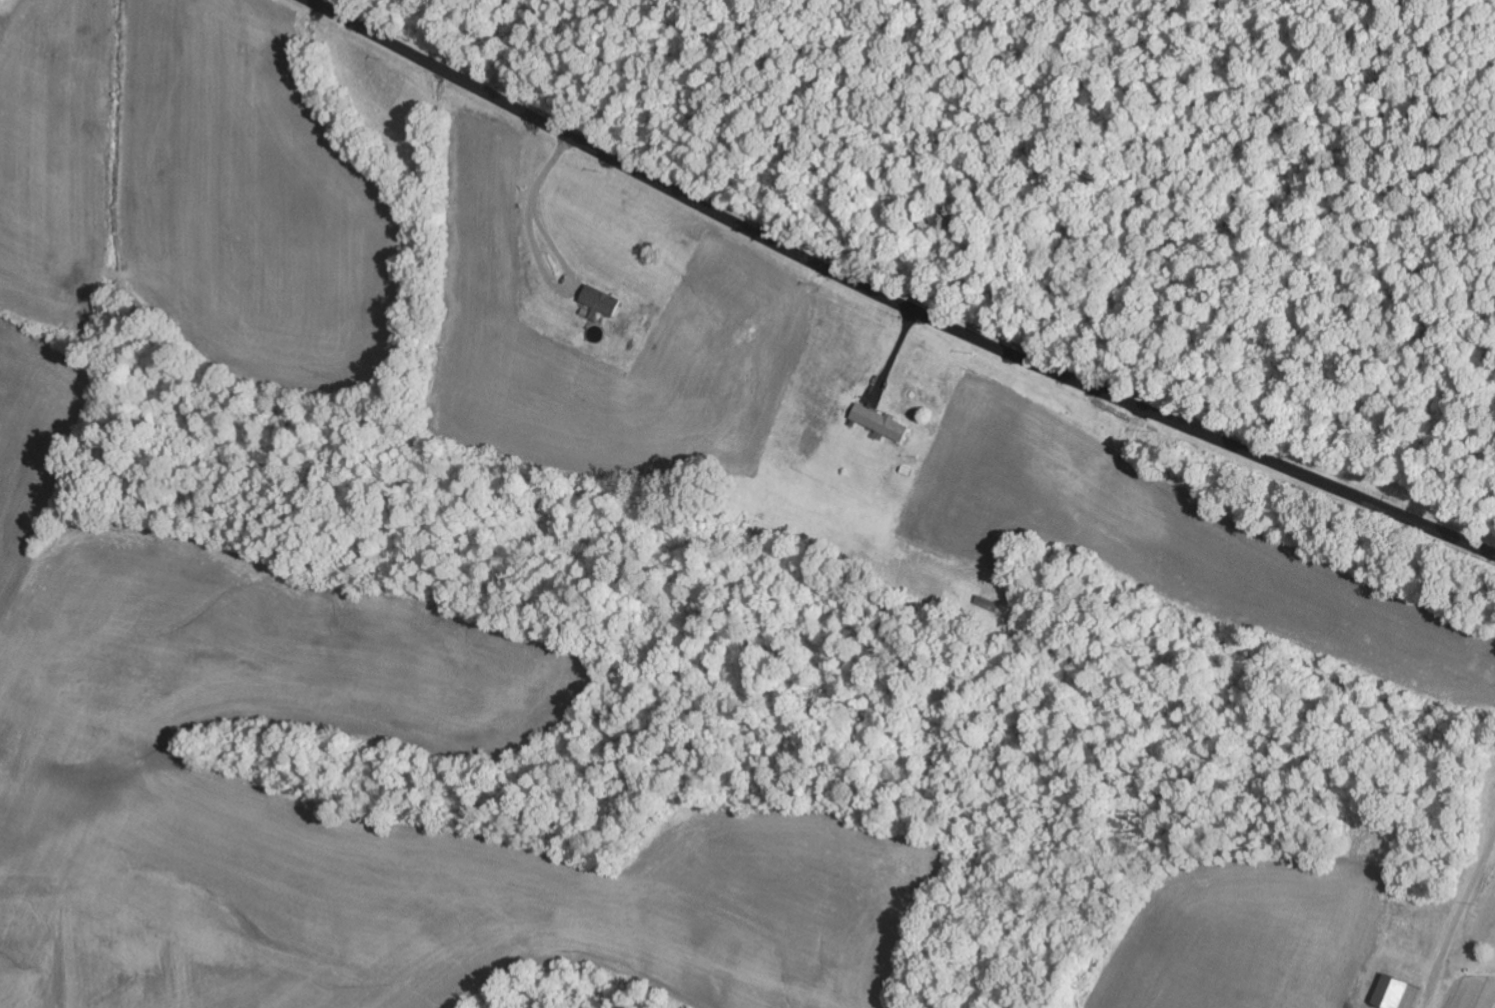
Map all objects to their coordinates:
building: (603, 301)
road: (891, 301)
building: (881, 423)
building: (1398, 994)

